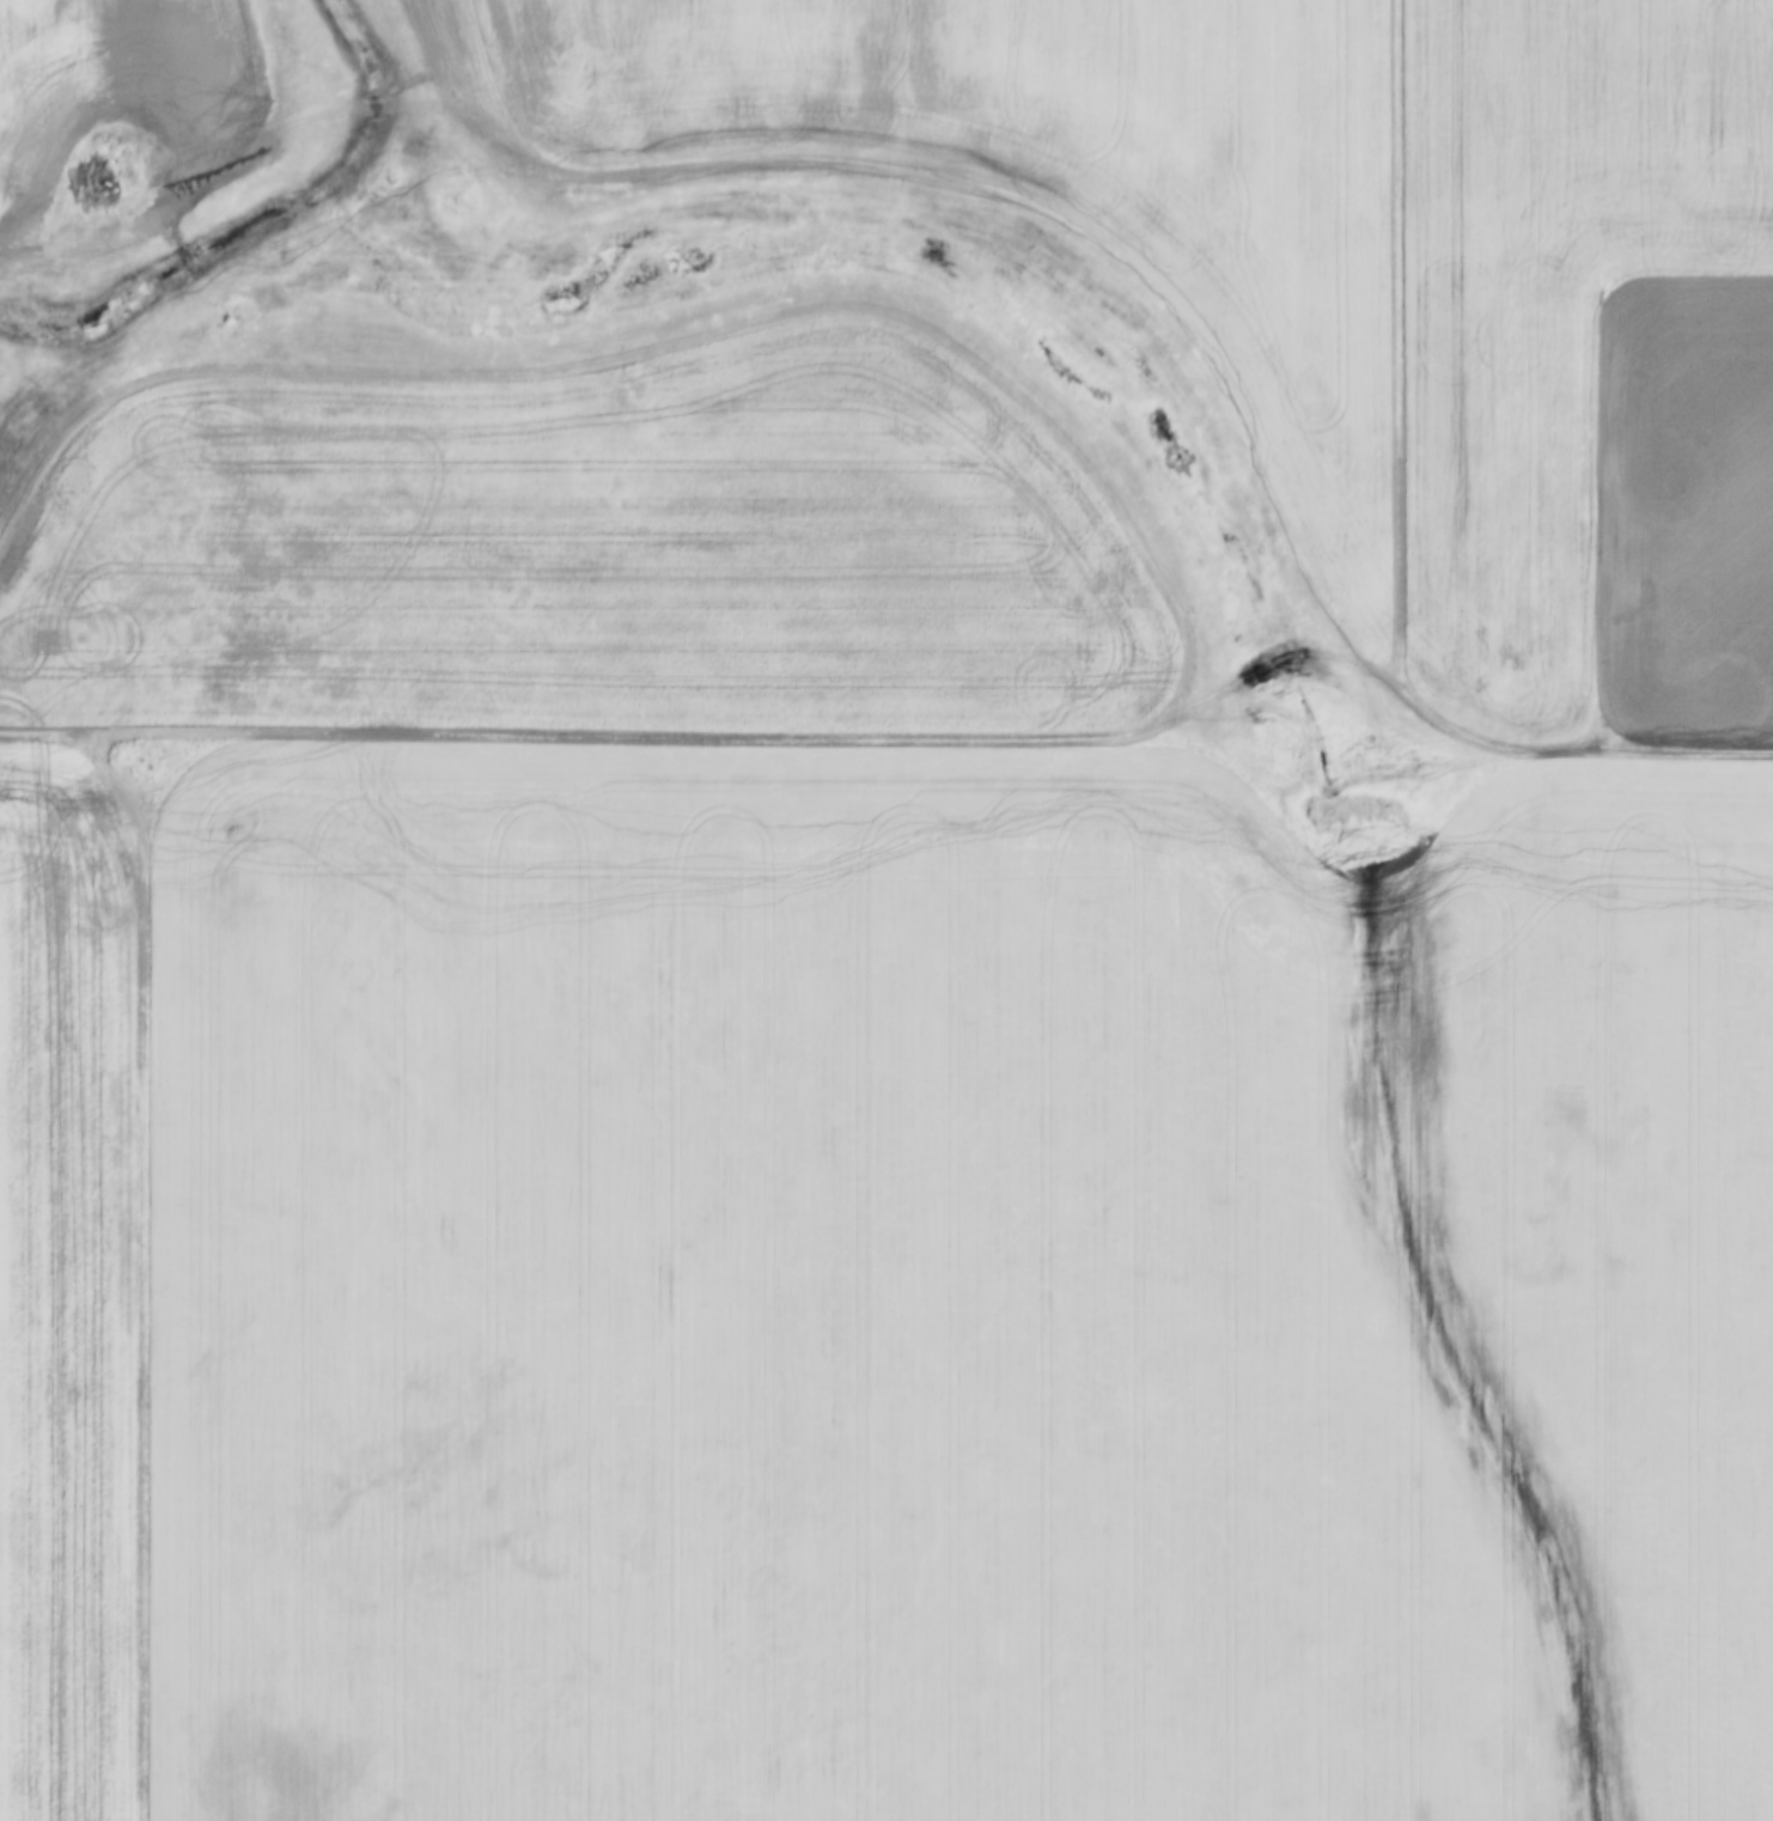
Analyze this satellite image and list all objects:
road: (48, 254)
road: (1437, 709)

